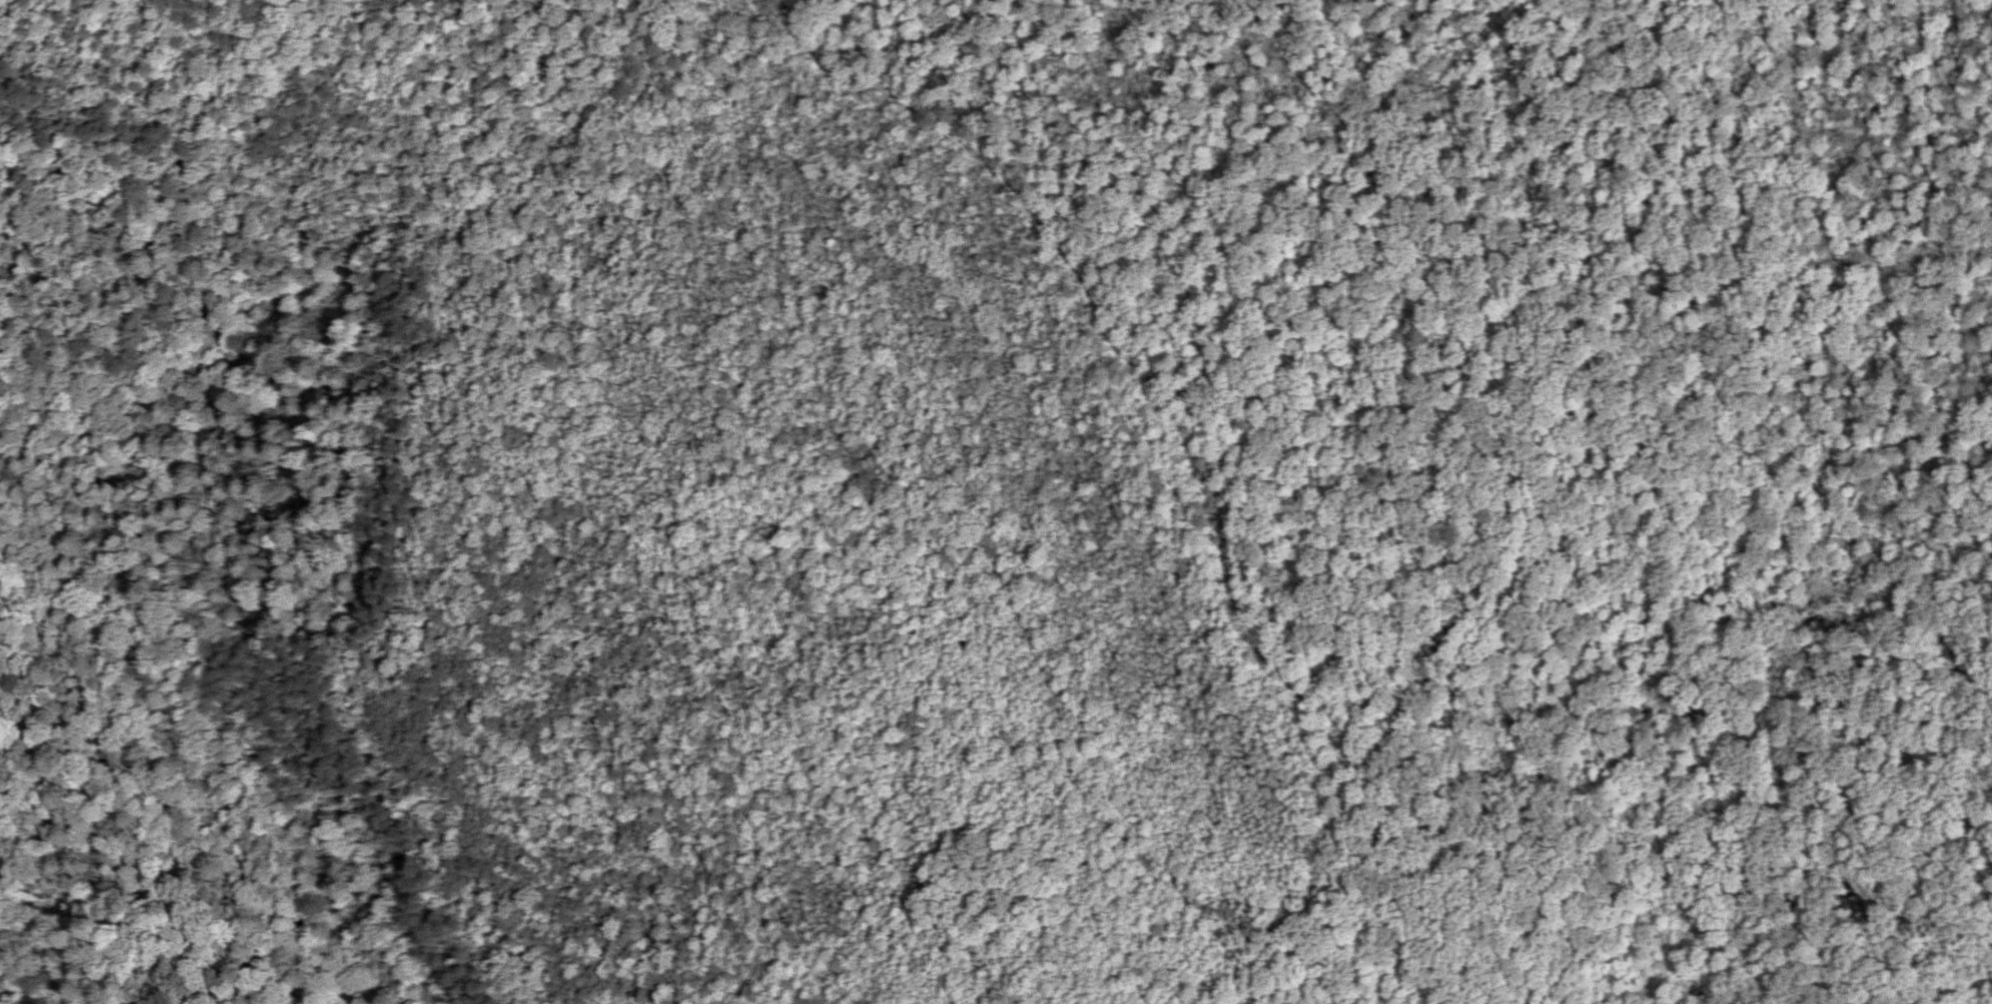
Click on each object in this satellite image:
park: (203, 615)

